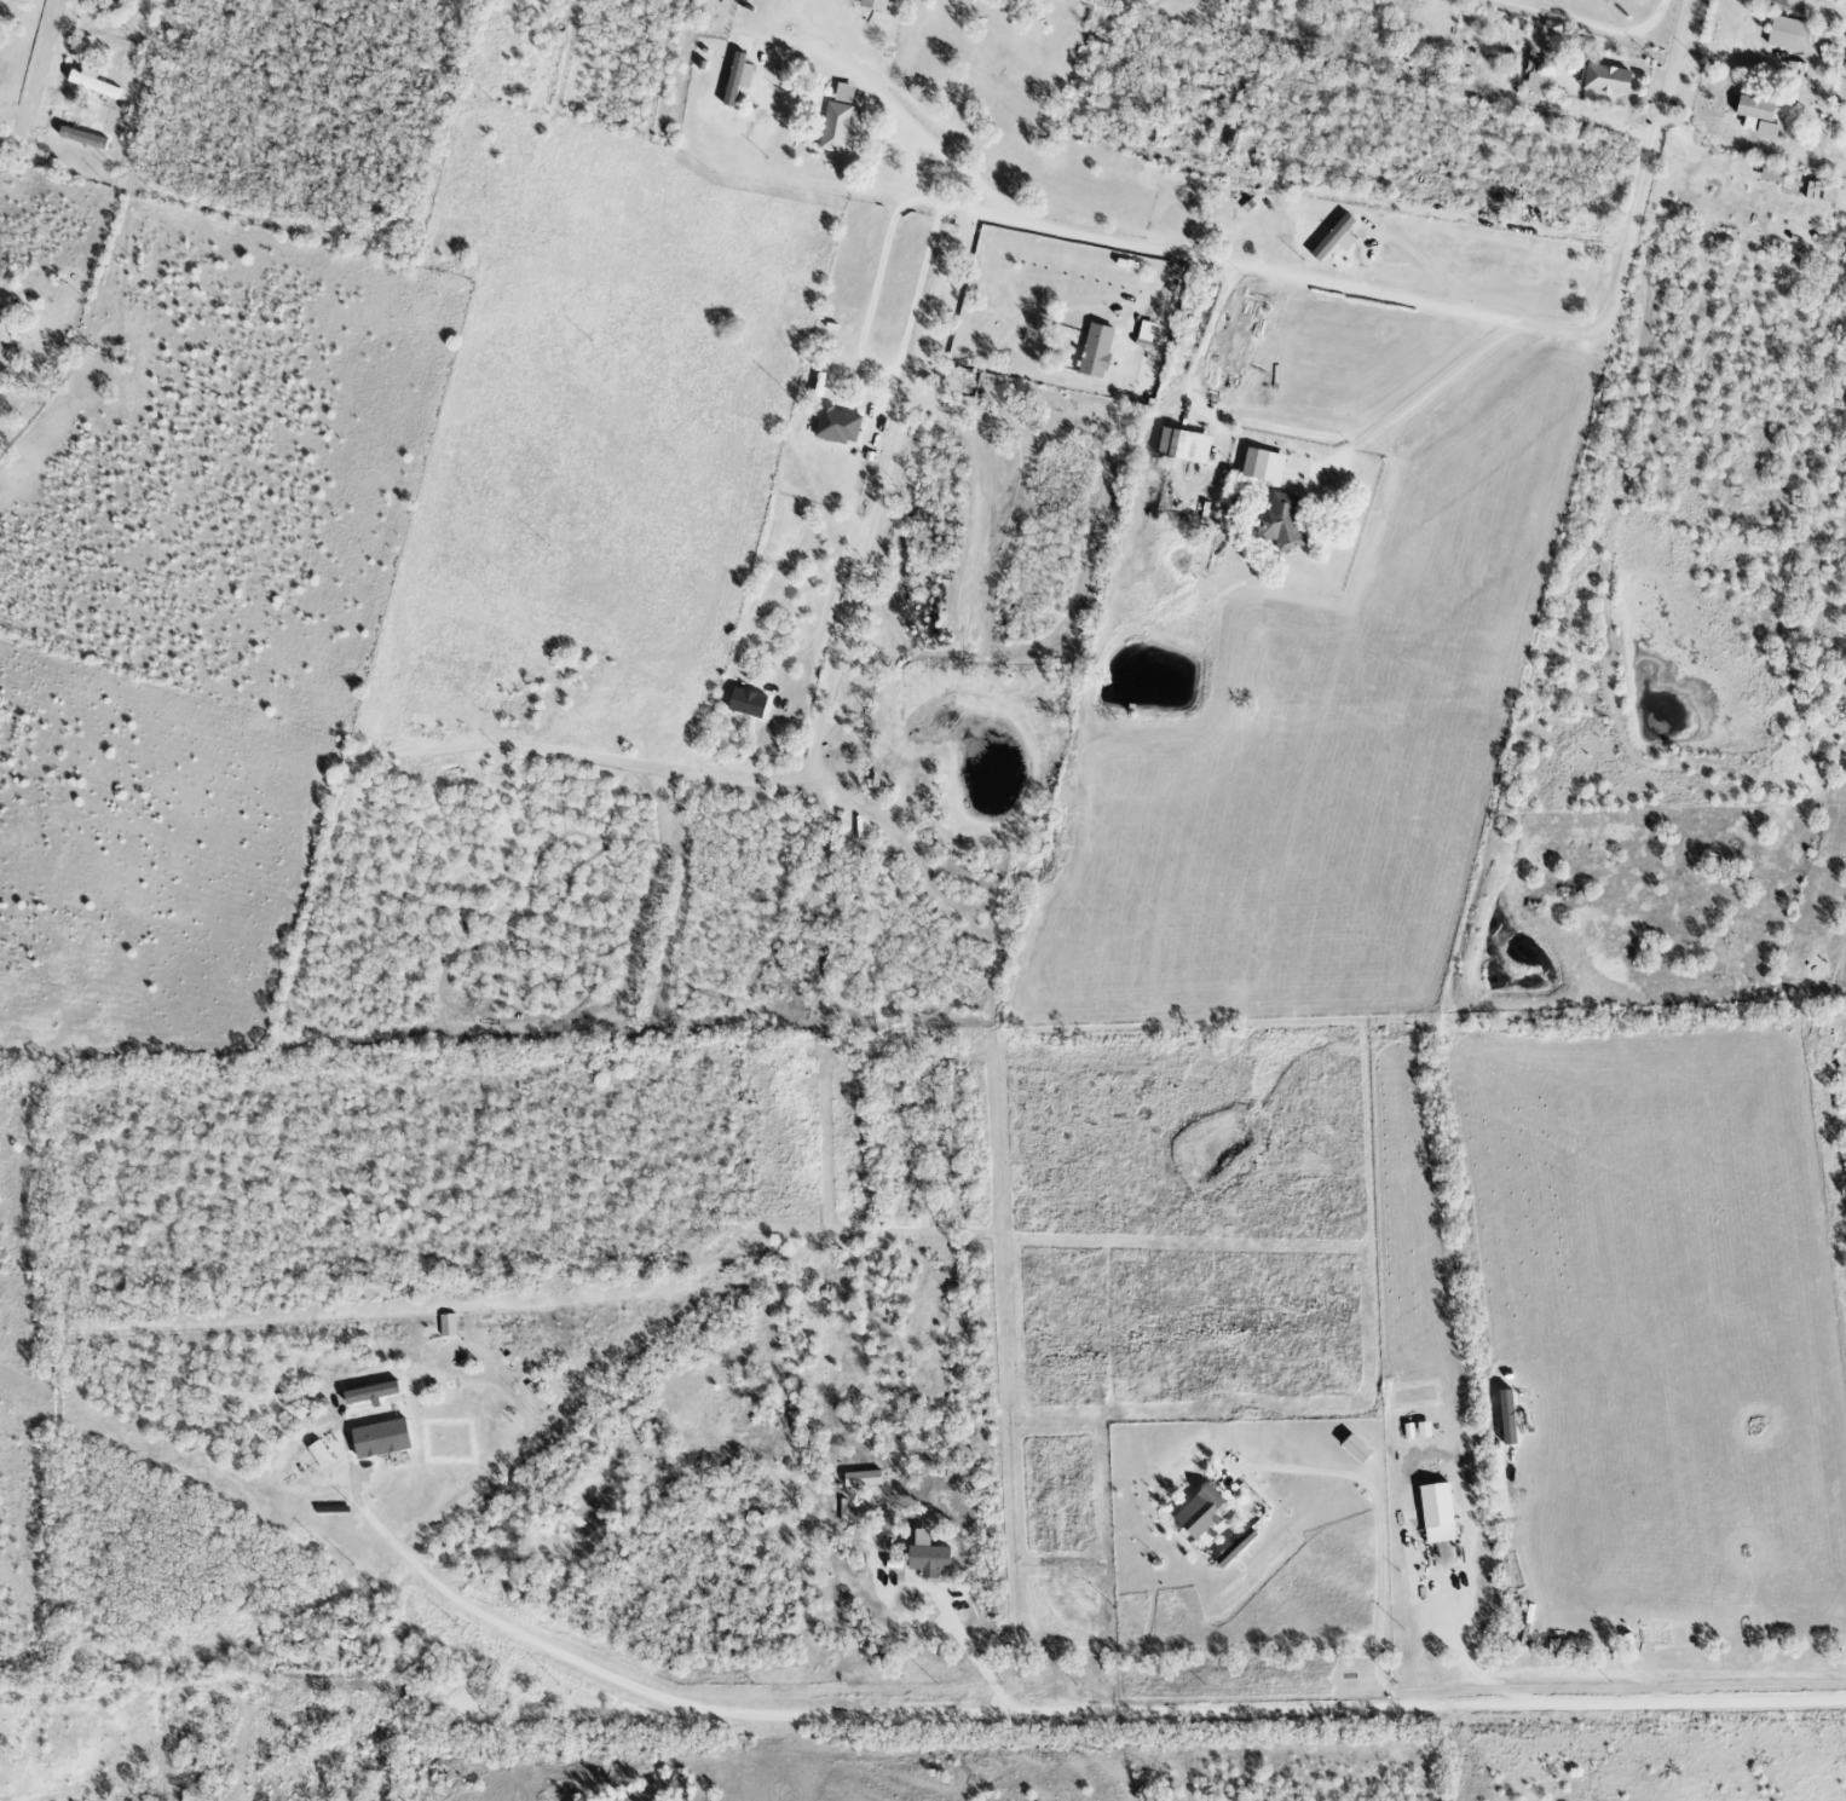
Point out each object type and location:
building: (872, 5)
road: (1590, 21)
building: (1788, 33)
road: (829, 52)
road: (36, 67)
building: (1535, 74)
building: (735, 79)
building: (1603, 80)
building: (91, 83)
building: (1761, 115)
building: (838, 122)
building: (81, 139)
building: (1770, 174)
building: (1811, 191)
road: (945, 206)
building: (1333, 239)
road: (1380, 293)
building: (1095, 351)
road: (872, 373)
building: (1, 381)
road: (1425, 387)
road: (1210, 409)
building: (837, 426)
building: (1182, 446)
building: (1262, 466)
building: (370, 1392)
building: (1506, 1416)
building: (1421, 1430)
building: (1407, 1431)
building: (379, 1439)
building: (317, 1453)
building: (860, 1479)
building: (1198, 1512)
building: (1435, 1513)
building: (927, 1560)
road: (939, 1600)
road: (1453, 1689)
road: (1057, 1710)

